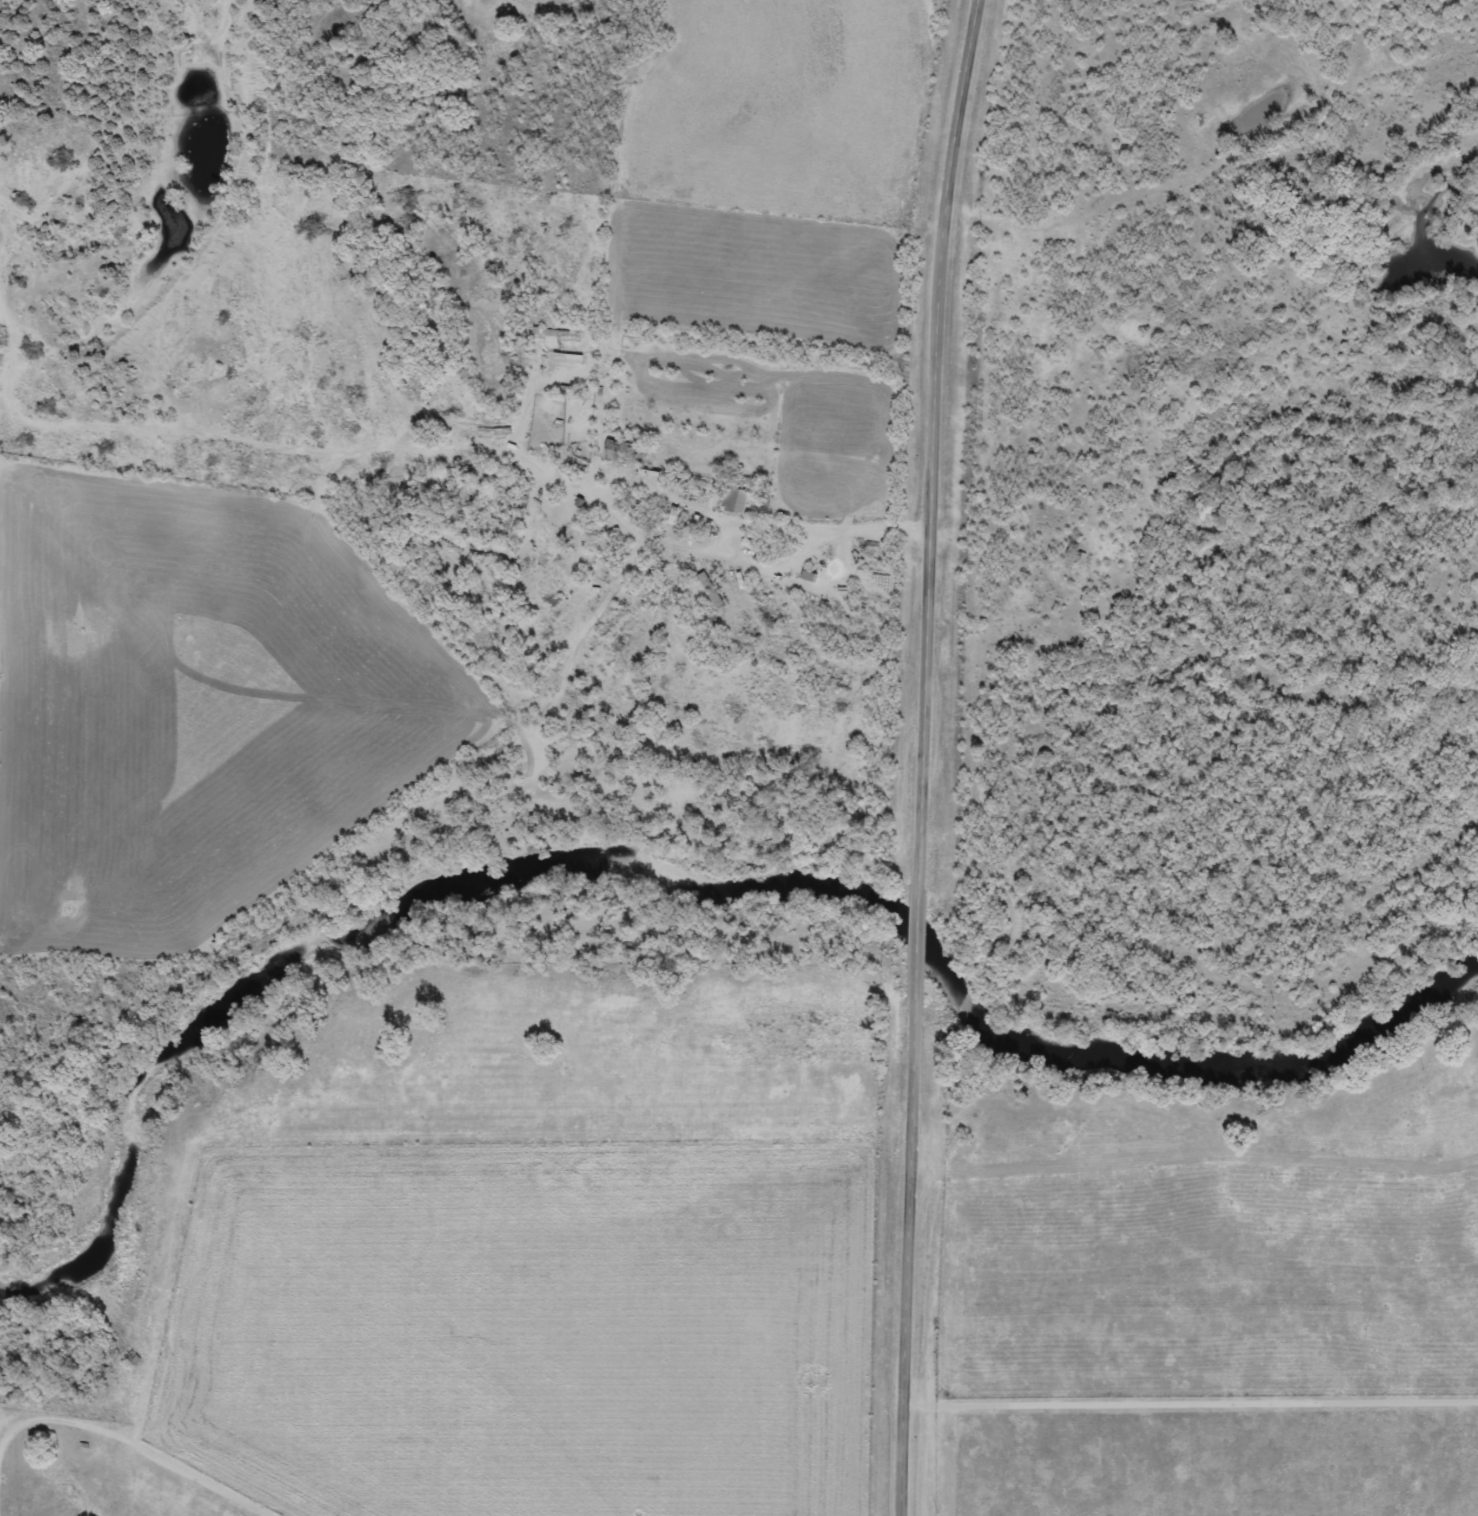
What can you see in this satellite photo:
road: (1364, 44)
road: (1198, 195)
building: (623, 454)
building: (735, 501)
building: (710, 592)
road: (926, 756)
building: (133, 1360)
road: (114, 1494)

